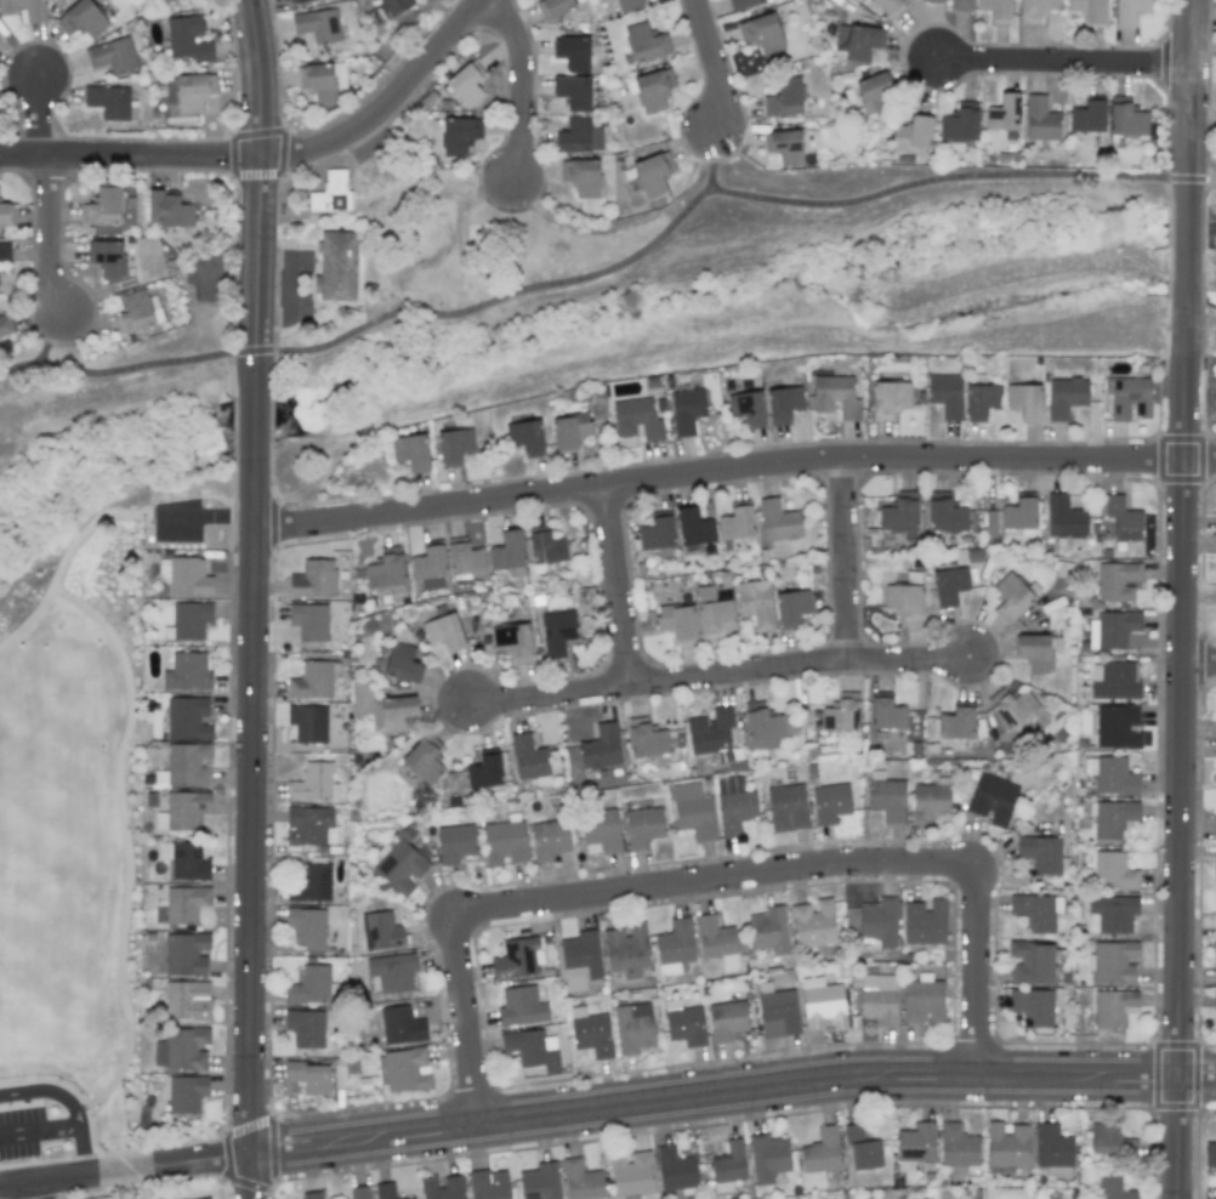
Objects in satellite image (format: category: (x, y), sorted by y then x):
building: (163, 0)
building: (297, 1)
building: (933, 1)
building: (629, 4)
building: (740, 4)
building: (960, 5)
building: (394, 6)
building: (553, 7)
building: (890, 7)
building: (25, 8)
building: (995, 10)
building: (1034, 10)
building: (1089, 10)
building: (1129, 11)
building: (83, 18)
building: (318, 25)
building: (761, 33)
building: (187, 39)
building: (857, 40)
building: (646, 42)
building: (572, 52)
building: (113, 55)
road: (1064, 64)
road: (716, 66)
building: (318, 81)
building: (465, 85)
road: (527, 85)
building: (652, 90)
building: (573, 92)
building: (874, 93)
building: (784, 97)
building: (110, 102)
road: (1187, 102)
building: (1002, 113)
building: (1089, 117)
road: (36, 118)
building: (1125, 118)
building: (1040, 119)
building: (960, 125)
building: (913, 133)
building: (459, 135)
building: (579, 136)
building: (785, 146)
road: (273, 157)
road: (711, 161)
road: (430, 172)
building: (652, 174)
road: (257, 176)
building: (581, 176)
road: (945, 180)
road: (1201, 180)
building: (331, 193)
road: (475, 205)
building: (103, 208)
building: (169, 210)
building: (4, 214)
road: (286, 221)
park: (428, 226)
road: (1184, 228)
road: (593, 229)
road: (46, 238)
park: (420, 240)
road: (286, 245)
road: (316, 248)
building: (5, 251)
building: (107, 257)
building: (336, 266)
road: (493, 300)
building: (133, 313)
building: (5, 324)
road: (56, 340)
road: (148, 364)
road: (22, 369)
road: (254, 376)
building: (1215, 386)
building: (945, 394)
building: (835, 396)
building: (1064, 397)
building: (1129, 397)
building: (888, 398)
building: (981, 400)
building: (1024, 400)
building: (783, 404)
building: (746, 408)
building: (686, 410)
road: (252, 426)
building: (569, 431)
building: (524, 437)
building: (454, 445)
building: (410, 451)
road: (733, 467)
building: (898, 516)
building: (1021, 516)
building: (1064, 517)
building: (1123, 518)
building: (778, 521)
road: (217, 522)
building: (735, 523)
building: (989, 523)
parking lot: (177, 524)
building: (693, 527)
building: (657, 534)
building: (546, 549)
road: (72, 551)
building: (507, 551)
road: (842, 557)
building: (465, 558)
building: (428, 566)
building: (385, 569)
building: (188, 576)
building: (313, 579)
building: (1116, 580)
road: (615, 585)
building: (949, 585)
building: (1010, 596)
building: (904, 602)
building: (754, 603)
building: (791, 607)
building: (711, 613)
building: (189, 619)
building: (309, 620)
building: (677, 621)
building: (444, 632)
building: (557, 632)
building: (512, 642)
building: (1034, 652)
building: (402, 663)
road: (1199, 664)
road: (1181, 665)
building: (187, 672)
road: (717, 674)
building: (312, 681)
building: (1114, 681)
building: (1012, 706)
building: (396, 712)
building: (886, 714)
building: (840, 717)
building: (308, 723)
building: (956, 723)
building: (762, 727)
building: (1116, 727)
building: (711, 732)
building: (646, 738)
building: (601, 748)
building: (529, 760)
building: (422, 761)
building: (188, 765)
building: (484, 772)
building: (1114, 777)
building: (313, 783)
building: (887, 799)
building: (993, 800)
building: (829, 802)
building: (928, 802)
building: (786, 808)
building: (183, 811)
building: (735, 811)
building: (693, 812)
building: (1112, 817)
park: (79, 824)
road: (249, 825)
building: (309, 825)
building: (1215, 825)
building: (642, 826)
building: (601, 829)
building: (549, 839)
road: (125, 840)
building: (504, 842)
building: (454, 843)
building: (1041, 853)
building: (188, 860)
building: (399, 863)
building: (1113, 871)
building: (1215, 874)
road: (715, 879)
building: (311, 883)
building: (184, 903)
building: (1036, 911)
building: (1110, 914)
building: (924, 921)
building: (813, 924)
building: (879, 924)
building: (1215, 925)
building: (306, 927)
building: (380, 931)
building: (768, 931)
building: (674, 947)
building: (626, 949)
building: (186, 954)
building: (517, 958)
building: (580, 960)
building: (1215, 961)
building: (1032, 962)
building: (1113, 962)
building: (391, 972)
building: (308, 987)
building: (186, 1000)
building: (875, 1000)
building: (922, 1000)
building: (1214, 1001)
building: (521, 1006)
building: (1032, 1006)
building: (1113, 1007)
building: (777, 1011)
building: (726, 1021)
building: (683, 1023)
building: (398, 1024)
building: (632, 1027)
building: (305, 1028)
building: (590, 1033)
building: (532, 1049)
building: (182, 1050)
building: (404, 1070)
building: (309, 1076)
road: (729, 1090)
building: (186, 1093)
road: (76, 1097)
road: (68, 1106)
road: (39, 1133)
parking lot: (45, 1135)
building: (1103, 1136)
road: (1176, 1138)
building: (915, 1143)
building: (1007, 1144)
building: (958, 1146)
building: (862, 1149)
building: (1052, 1149)
building: (822, 1150)
building: (1210, 1154)
building: (768, 1157)
building: (728, 1166)
building: (675, 1169)
road: (124, 1172)
building: (630, 1172)
building: (540, 1181)
building: (581, 1181)
building: (488, 1184)
building: (443, 1187)
building: (1112, 1188)
road: (34, 1191)
building: (358, 1192)
building: (387, 1192)
building: (312, 1195)
building: (205, 1198)

